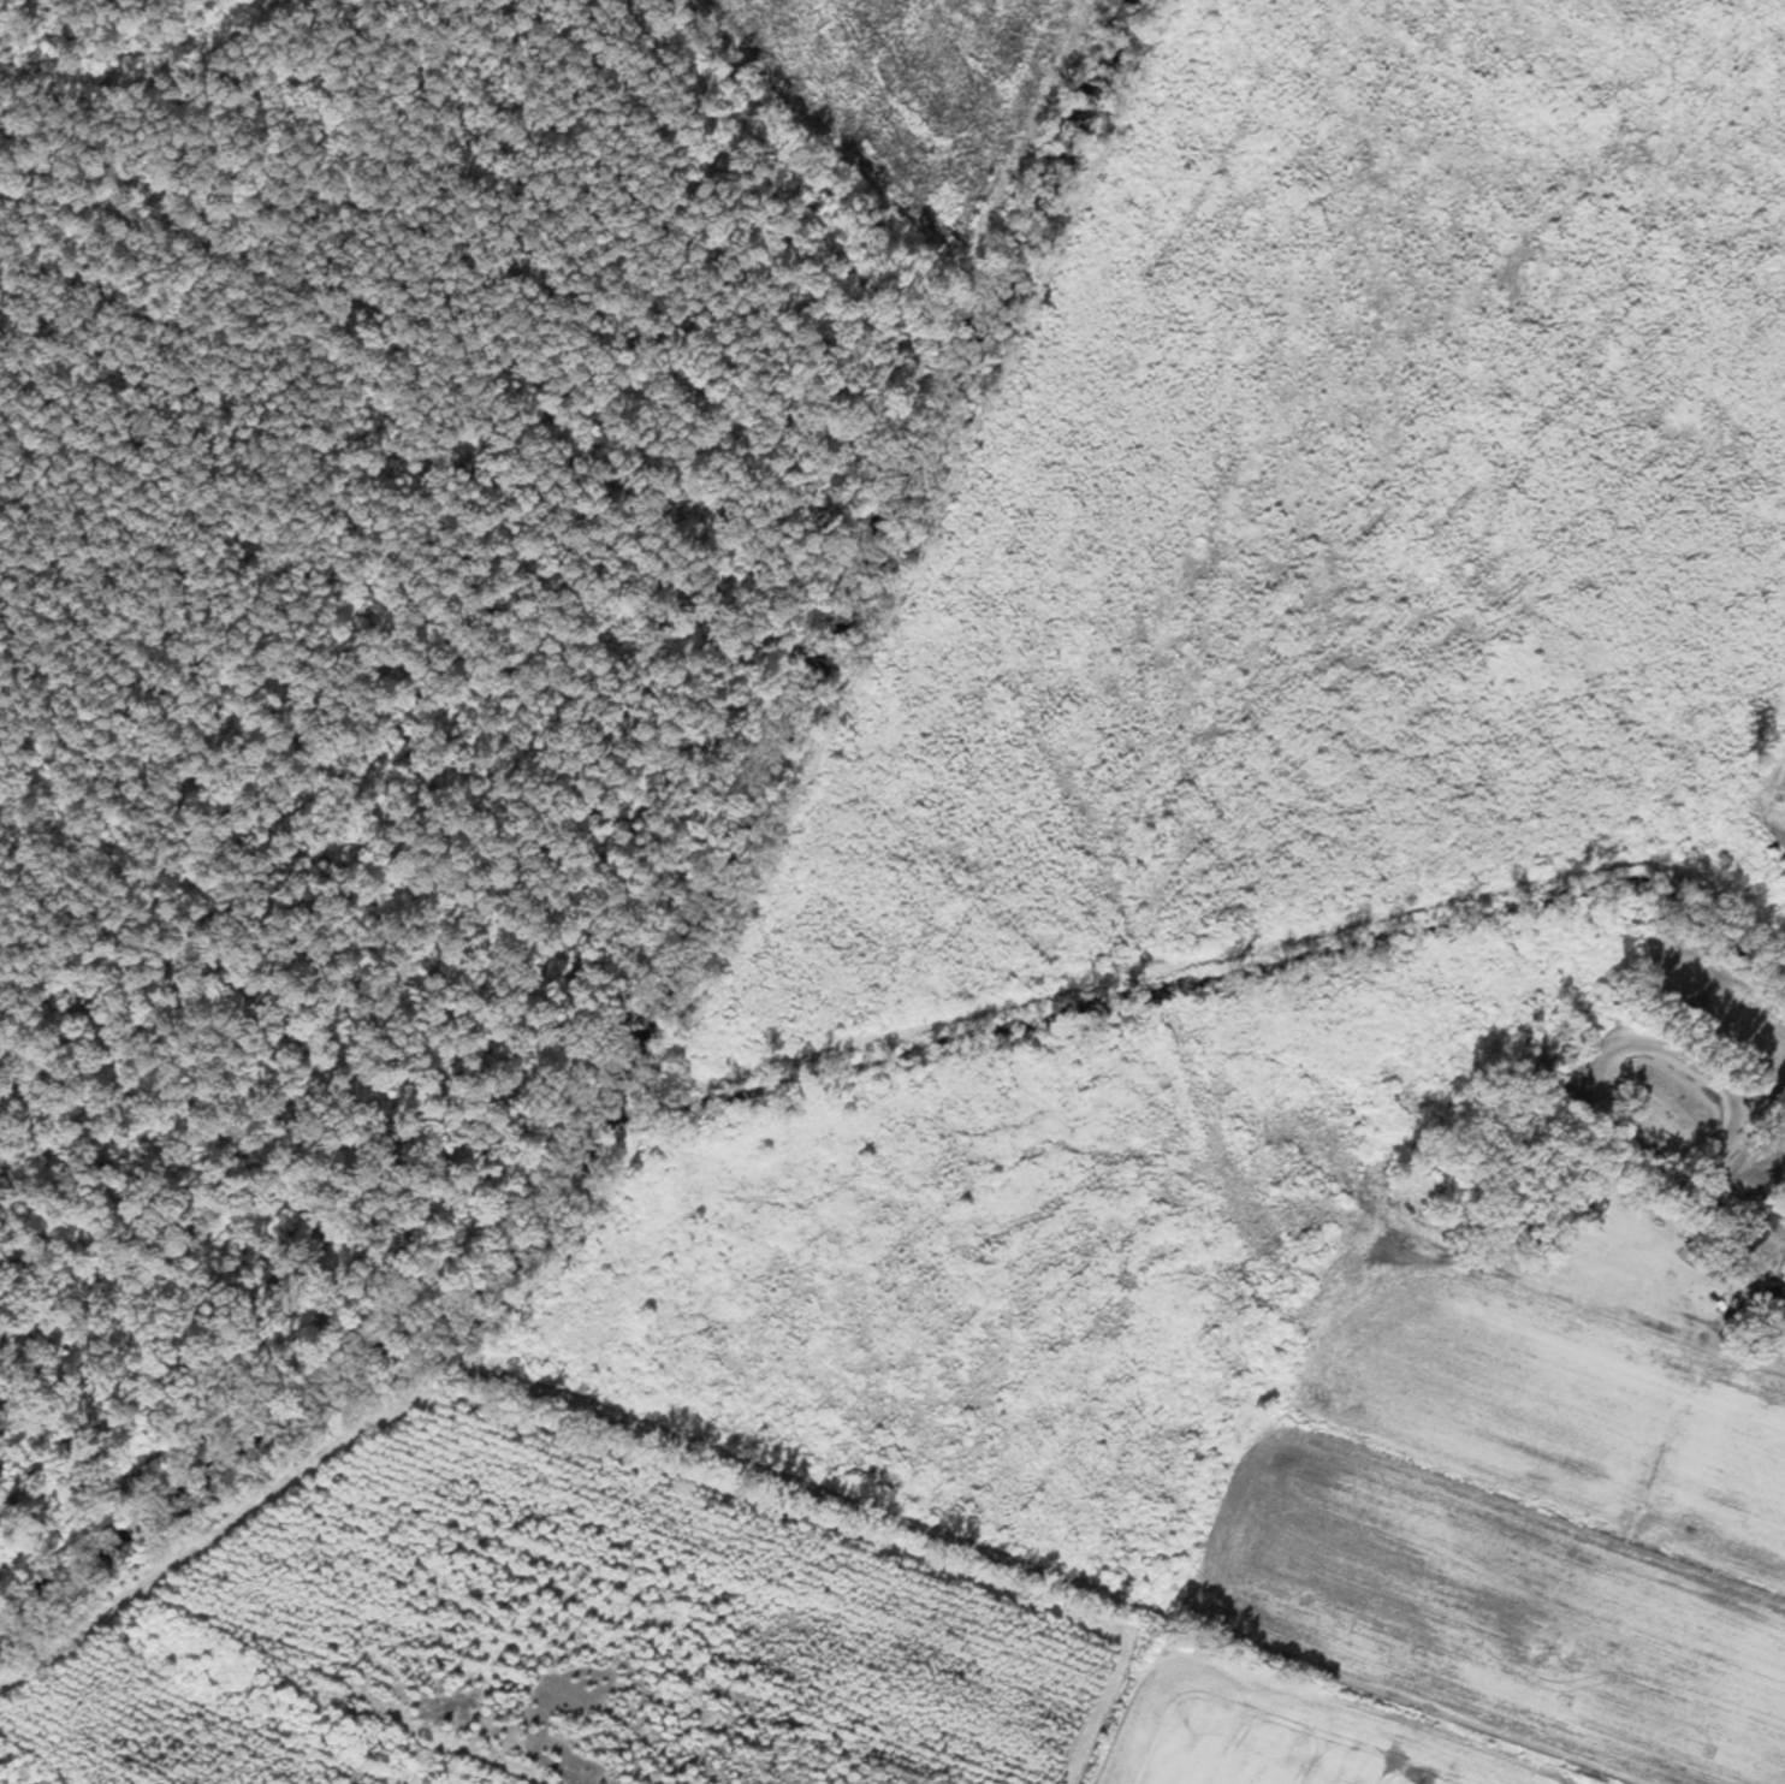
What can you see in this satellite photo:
building: (1773, 1220)
building: (1773, 1303)

